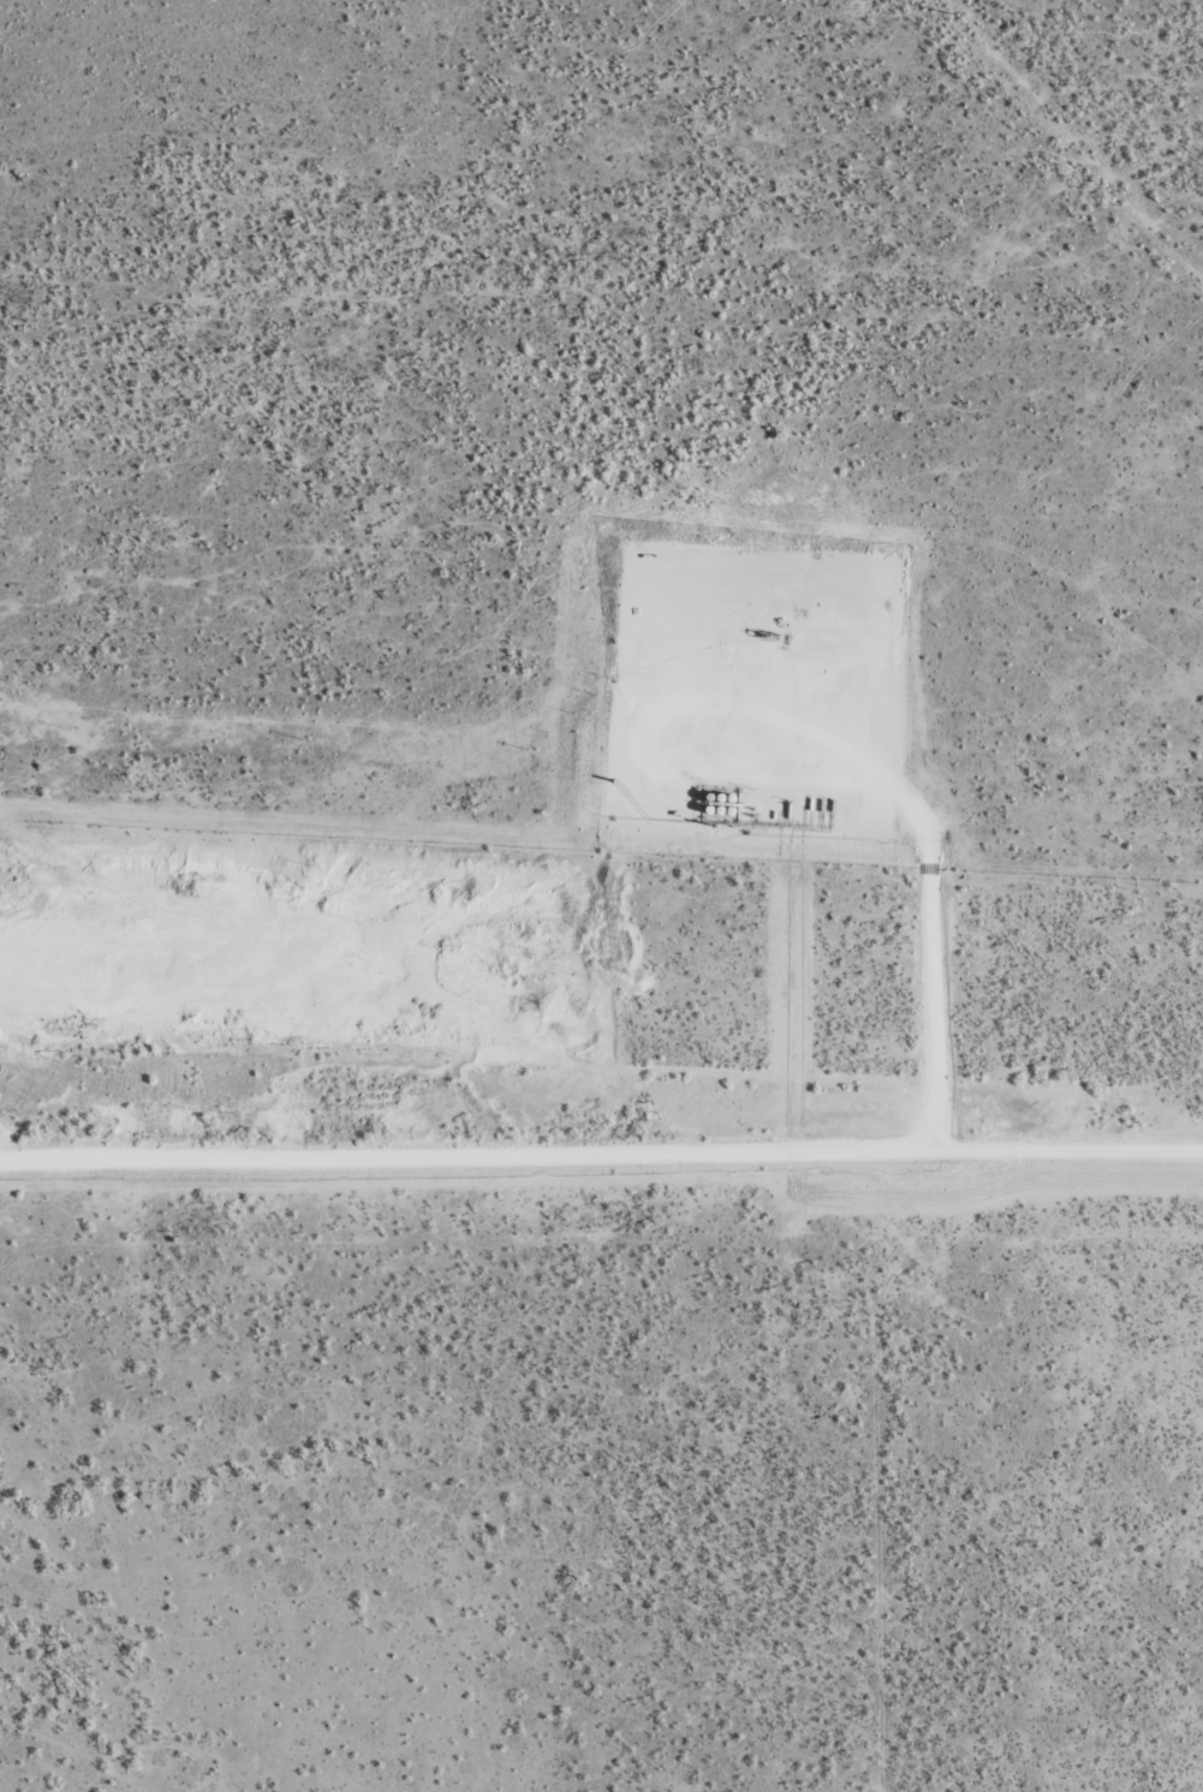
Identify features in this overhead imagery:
power tower: (948, 13)
road: (601, 1145)

